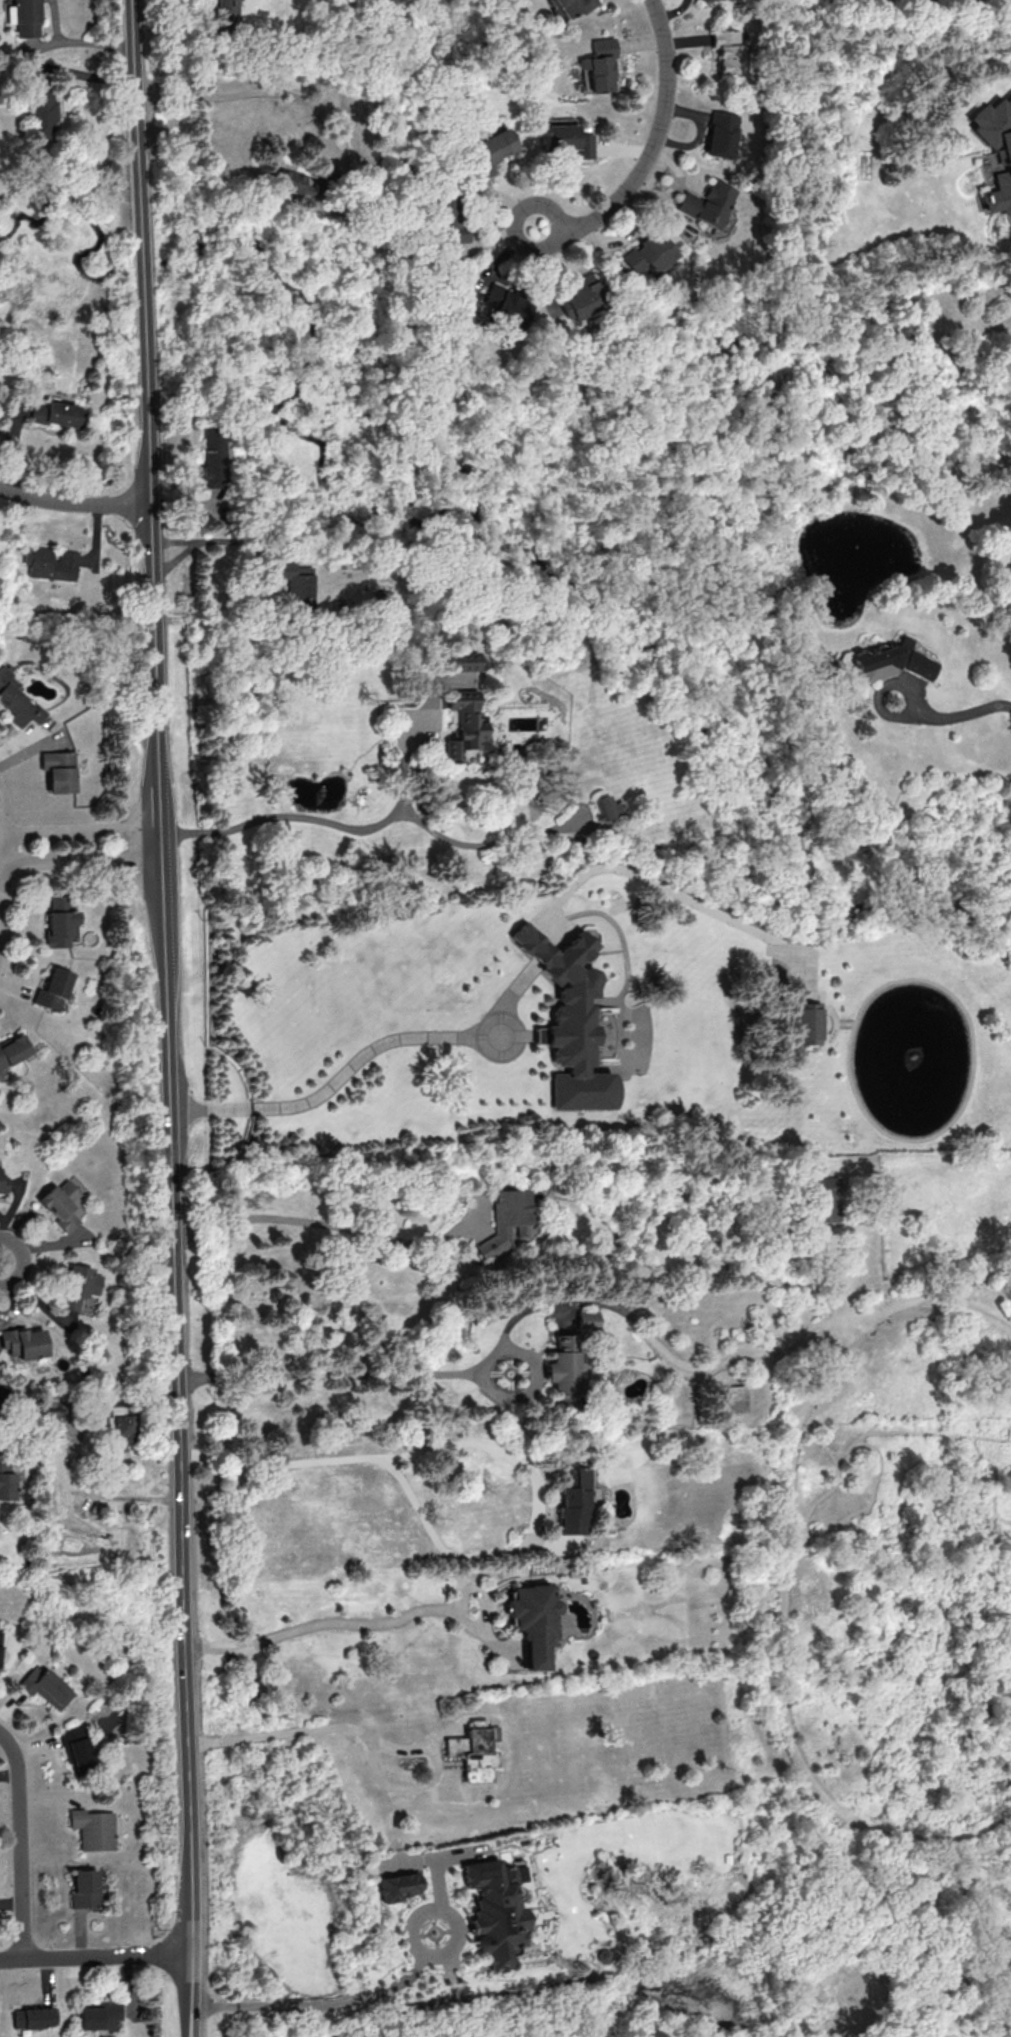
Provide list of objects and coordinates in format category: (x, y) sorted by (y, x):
building: (575, 5)
building: (226, 13)
building: (25, 17)
road: (76, 43)
building: (728, 49)
building: (599, 64)
building: (44, 68)
road: (253, 92)
building: (42, 112)
building: (721, 134)
building: (567, 139)
building: (495, 145)
road: (651, 146)
building: (1006, 158)
building: (291, 182)
building: (706, 203)
building: (449, 222)
building: (647, 253)
building: (582, 295)
building: (507, 306)
building: (57, 413)
road: (73, 499)
road: (206, 539)
building: (50, 562)
building: (291, 584)
building: (459, 661)
building: (891, 661)
building: (16, 700)
road: (949, 714)
building: (463, 727)
building: (58, 770)
building: (604, 806)
road: (371, 828)
road: (80, 834)
road: (81, 859)
building: (59, 919)
road: (166, 975)
building: (52, 989)
building: (569, 1021)
building: (808, 1023)
building: (12, 1048)
road: (363, 1057)
building: (3, 1182)
building: (60, 1204)
building: (507, 1221)
road: (320, 1223)
building: (80, 1285)
building: (588, 1320)
building: (23, 1342)
building: (563, 1364)
road: (416, 1376)
building: (730, 1399)
building: (119, 1427)
road: (494, 1449)
building: (6, 1479)
building: (575, 1502)
building: (534, 1621)
road: (345, 1625)
building: (0, 1637)
building: (45, 1686)
road: (376, 1741)
building: (75, 1748)
building: (473, 1751)
building: (91, 1829)
road: (24, 1845)
building: (397, 1886)
building: (83, 1888)
building: (496, 1909)
road: (95, 1956)
road: (392, 1989)
road: (191, 1994)
building: (99, 2015)
building: (34, 2017)

